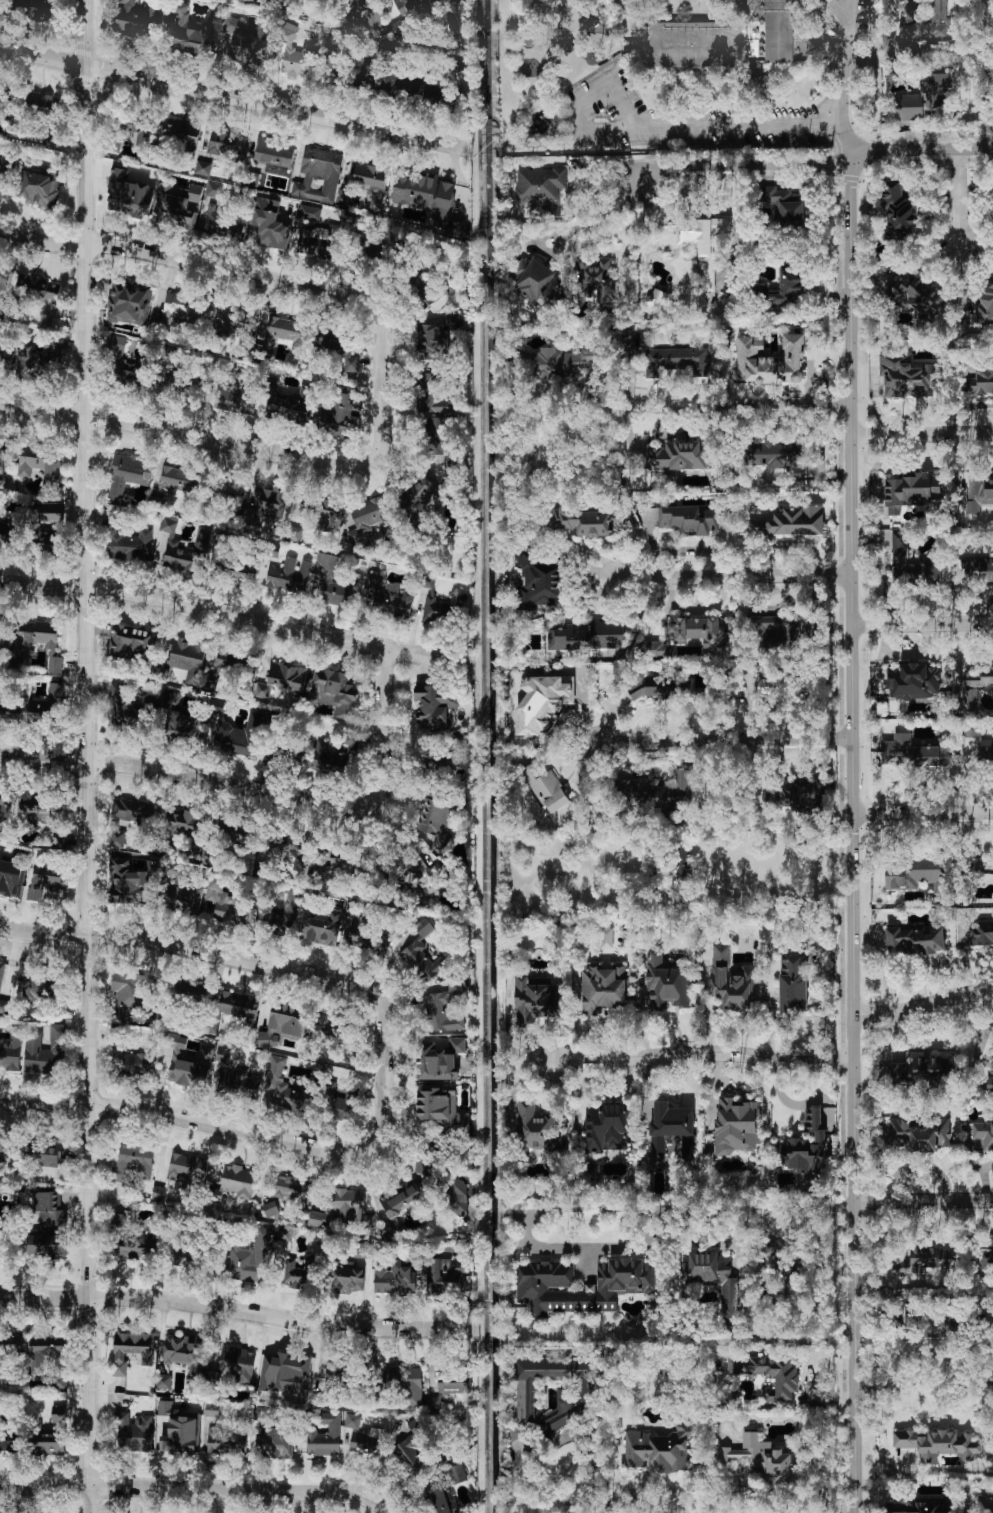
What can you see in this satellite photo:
building: (249, 0)
building: (627, 2)
building: (34, 7)
building: (366, 9)
road: (839, 13)
building: (407, 14)
building: (132, 19)
building: (925, 28)
building: (190, 35)
building: (742, 39)
building: (247, 43)
building: (300, 61)
road: (849, 62)
road: (988, 73)
building: (404, 85)
building: (937, 91)
building: (434, 95)
building: (5, 96)
road: (231, 96)
building: (39, 103)
building: (909, 107)
road: (666, 128)
building: (136, 130)
building: (219, 144)
road: (921, 149)
building: (273, 151)
road: (745, 160)
building: (202, 168)
building: (319, 175)
building: (4, 177)
building: (372, 182)
building: (540, 184)
building: (39, 186)
building: (214, 190)
building: (129, 195)
building: (345, 196)
building: (428, 198)
road: (962, 198)
building: (179, 204)
building: (782, 206)
building: (897, 213)
building: (308, 214)
road: (593, 216)
building: (224, 223)
building: (269, 223)
building: (316, 241)
building: (703, 245)
building: (362, 246)
road: (228, 270)
building: (4, 280)
building: (596, 281)
building: (536, 283)
building: (39, 289)
building: (788, 289)
building: (913, 293)
building: (129, 304)
building: (985, 307)
building: (182, 309)
building: (230, 318)
building: (452, 321)
building: (285, 332)
building: (433, 341)
building: (6, 356)
building: (41, 360)
building: (677, 361)
building: (770, 361)
building: (128, 367)
building: (906, 376)
building: (429, 381)
building: (979, 381)
building: (184, 383)
building: (234, 398)
building: (434, 405)
building: (287, 407)
road: (662, 407)
building: (340, 417)
road: (922, 434)
building: (0, 441)
road: (224, 443)
building: (3, 455)
building: (777, 455)
building: (678, 456)
building: (39, 464)
building: (128, 474)
building: (178, 480)
building: (230, 491)
building: (910, 491)
building: (981, 491)
building: (420, 495)
building: (253, 503)
building: (267, 506)
building: (322, 514)
building: (369, 520)
building: (688, 520)
building: (589, 521)
building: (790, 522)
building: (51, 525)
building: (9, 531)
building: (130, 545)
building: (185, 549)
building: (898, 552)
building: (326, 565)
building: (237, 569)
building: (977, 571)
building: (289, 576)
road: (735, 577)
building: (538, 582)
building: (338, 593)
building: (389, 596)
building: (435, 606)
road: (235, 615)
building: (0, 619)
building: (774, 624)
road: (922, 625)
building: (688, 635)
building: (588, 636)
building: (40, 642)
building: (130, 644)
building: (186, 658)
building: (227, 666)
building: (288, 677)
building: (913, 682)
building: (977, 682)
building: (648, 687)
building: (777, 688)
building: (263, 690)
building: (728, 690)
building: (334, 692)
building: (540, 703)
building: (217, 704)
building: (48, 705)
building: (434, 706)
building: (11, 709)
building: (125, 709)
building: (181, 718)
building: (239, 736)
road: (726, 740)
building: (914, 752)
building: (281, 753)
building: (335, 754)
road: (89, 756)
building: (544, 789)
road: (266, 791)
building: (677, 791)
building: (633, 792)
building: (802, 794)
building: (767, 800)
building: (5, 805)
building: (41, 809)
road: (923, 810)
building: (132, 812)
building: (438, 820)
building: (181, 825)
road: (853, 834)
building: (118, 839)
building: (678, 861)
building: (334, 863)
building: (410, 872)
building: (913, 875)
building: (10, 878)
building: (44, 882)
building: (184, 899)
building: (209, 910)
building: (248, 910)
building: (324, 927)
building: (982, 932)
building: (606, 938)
building: (914, 940)
road: (230, 955)
building: (1, 971)
building: (731, 979)
building: (794, 983)
building: (666, 984)
building: (39, 987)
building: (602, 988)
building: (191, 991)
building: (129, 995)
building: (535, 998)
building: (4, 1007)
road: (924, 1007)
building: (444, 1008)
building: (231, 1010)
road: (771, 1012)
building: (284, 1022)
building: (329, 1027)
building: (10, 1051)
building: (45, 1051)
road: (705, 1054)
building: (438, 1060)
building: (187, 1062)
building: (136, 1064)
building: (920, 1071)
building: (240, 1084)
building: (989, 1085)
building: (285, 1089)
road: (799, 1105)
building: (340, 1107)
building: (441, 1107)
road: (228, 1124)
building: (736, 1126)
building: (606, 1127)
building: (537, 1131)
building: (671, 1131)
building: (919, 1134)
building: (978, 1137)
building: (806, 1147)
building: (6, 1150)
building: (41, 1154)
building: (134, 1161)
building: (422, 1161)
building: (187, 1168)
building: (236, 1181)
building: (291, 1189)
building: (158, 1193)
building: (398, 1198)
road: (922, 1198)
building: (49, 1209)
building: (342, 1209)
road: (718, 1209)
road: (983, 1216)
building: (45, 1245)
building: (140, 1245)
road: (566, 1247)
building: (362, 1250)
building: (770, 1253)
building: (187, 1255)
building: (248, 1257)
building: (934, 1259)
building: (987, 1259)
building: (894, 1269)
building: (300, 1273)
building: (397, 1276)
building: (441, 1276)
building: (712, 1276)
building: (348, 1279)
building: (620, 1289)
road: (239, 1314)
building: (930, 1325)
building: (11, 1345)
building: (132, 1349)
building: (186, 1354)
building: (59, 1365)
building: (233, 1365)
building: (285, 1373)
building: (768, 1374)
building: (336, 1375)
road: (924, 1380)
building: (164, 1381)
building: (403, 1383)
building: (447, 1393)
building: (571, 1400)
building: (212, 1409)
building: (352, 1421)
road: (940, 1422)
building: (134, 1433)
building: (180, 1436)
building: (325, 1437)
building: (366, 1440)
building: (275, 1441)
building: (10, 1442)
building: (225, 1442)
road: (544, 1446)
building: (408, 1448)
building: (659, 1449)
building: (762, 1459)
road: (196, 1490)
building: (983, 1504)
building: (919, 1507)

